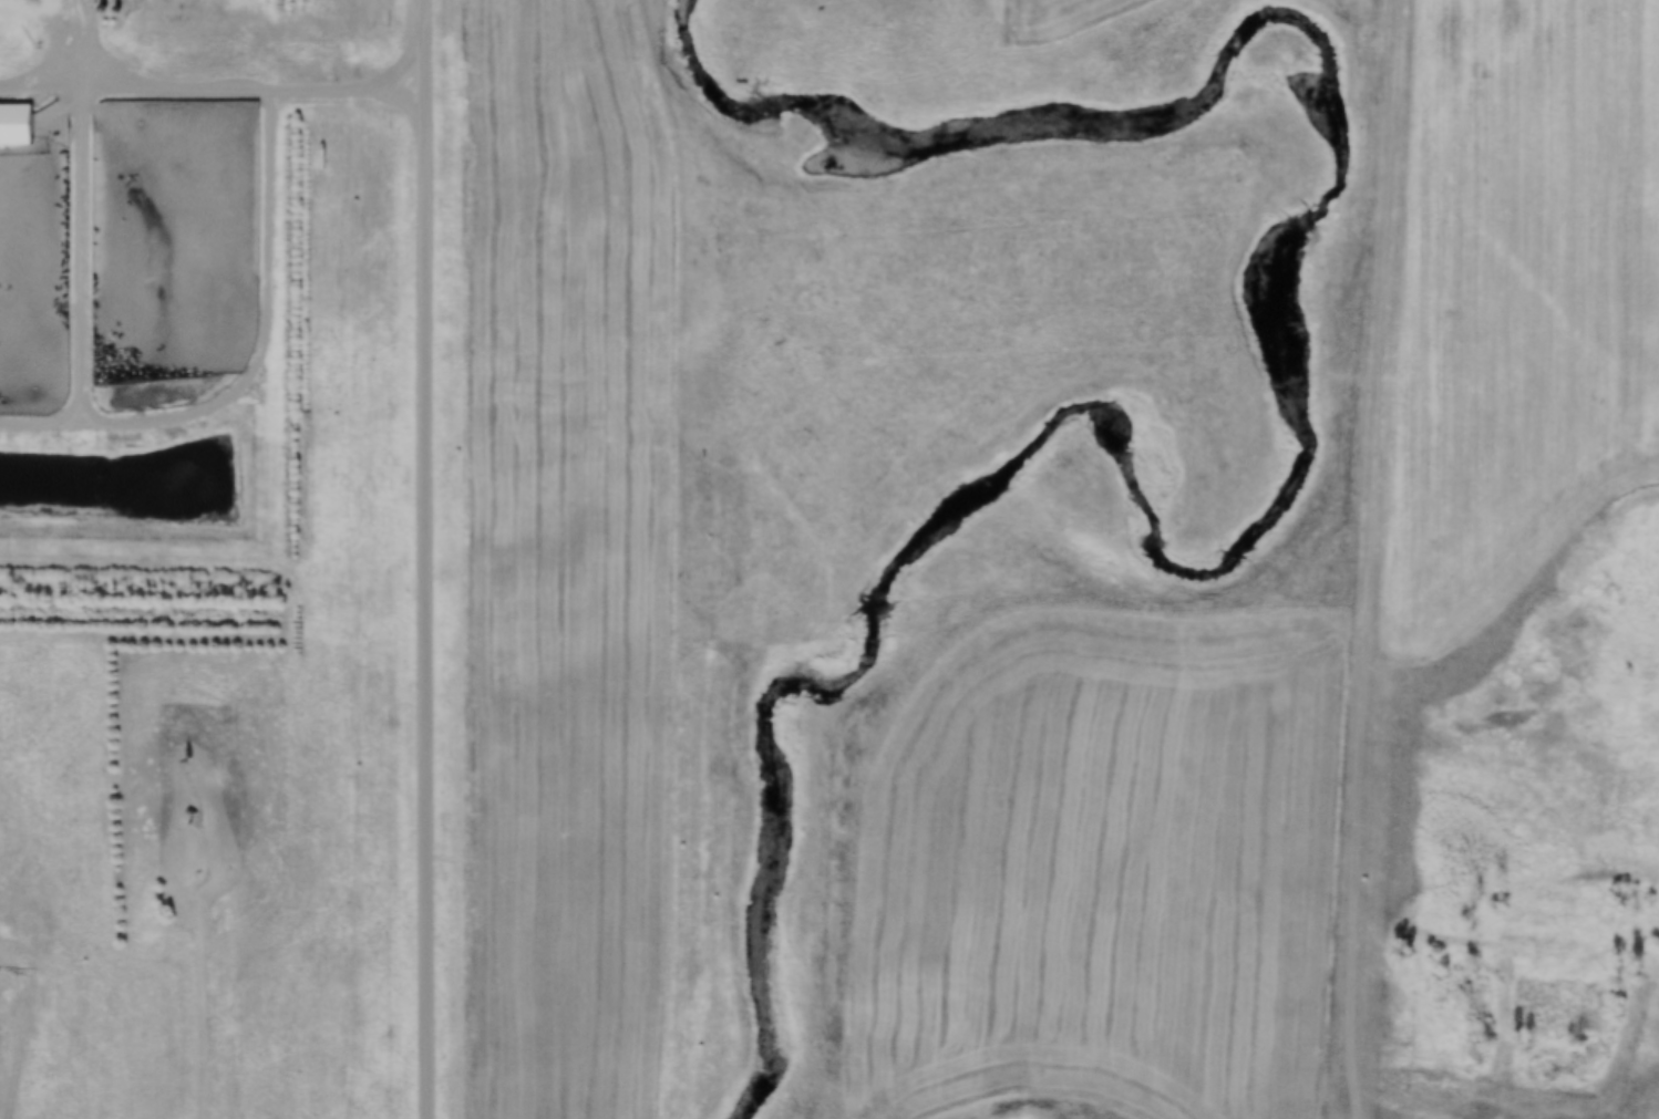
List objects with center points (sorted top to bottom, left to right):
building: (6, 141)
road: (1379, 421)
road: (426, 559)
road: (1521, 602)
road: (1354, 904)
road: (206, 1009)

